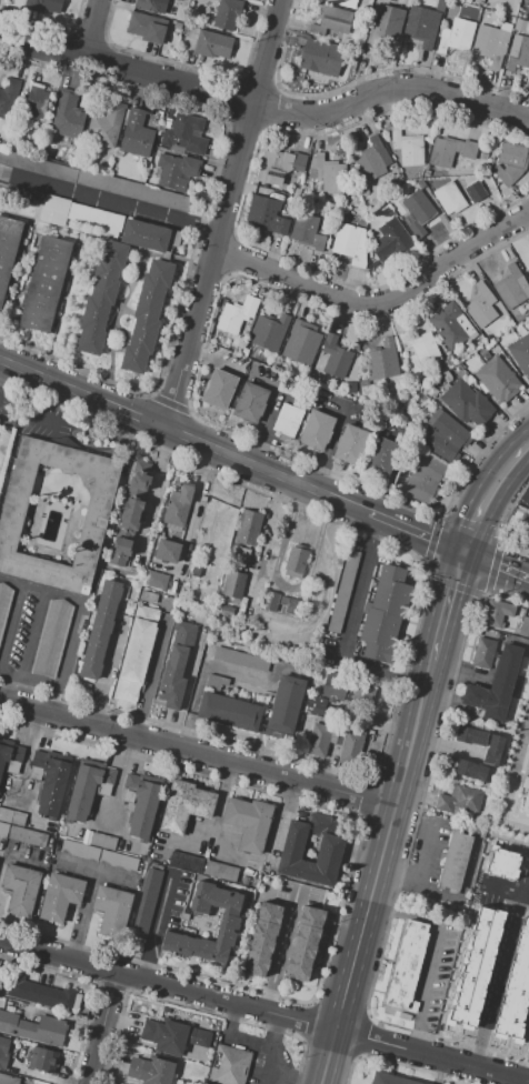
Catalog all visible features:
building: (517, 0)
building: (526, 1)
building: (342, 2)
building: (147, 4)
building: (440, 4)
building: (43, 6)
building: (520, 12)
building: (226, 13)
building: (332, 23)
building: (177, 26)
building: (385, 26)
building: (147, 27)
building: (421, 27)
building: (520, 27)
road: (91, 28)
building: (186, 30)
building: (192, 33)
building: (455, 37)
building: (492, 42)
building: (211, 51)
building: (518, 53)
building: (322, 60)
building: (8, 97)
building: (37, 101)
road: (263, 104)
building: (68, 116)
building: (106, 123)
building: (137, 134)
building: (184, 134)
building: (408, 147)
building: (450, 150)
building: (483, 154)
building: (373, 160)
building: (510, 161)
building: (280, 168)
building: (176, 171)
building: (328, 173)
building: (94, 180)
building: (399, 180)
building: (421, 183)
building: (297, 191)
building: (363, 191)
building: (458, 195)
road: (108, 200)
building: (355, 200)
building: (53, 209)
building: (417, 211)
road: (221, 214)
building: (93, 215)
building: (266, 215)
building: (343, 217)
building: (307, 231)
building: (143, 234)
road: (103, 238)
building: (387, 242)
building: (348, 244)
building: (7, 247)
road: (21, 268)
building: (528, 271)
building: (43, 284)
building: (510, 288)
building: (99, 295)
road: (379, 302)
road: (61, 304)
building: (480, 305)
building: (144, 314)
building: (237, 314)
building: (518, 318)
road: (111, 322)
building: (450, 325)
building: (268, 332)
building: (488, 337)
building: (301, 342)
building: (421, 347)
building: (238, 348)
building: (244, 352)
building: (483, 353)
building: (520, 353)
road: (212, 358)
building: (335, 358)
building: (381, 360)
building: (448, 362)
road: (0, 363)
building: (446, 378)
building: (496, 380)
road: (57, 384)
building: (219, 389)
building: (249, 402)
building: (467, 404)
road: (269, 409)
road: (345, 410)
building: (410, 415)
road: (140, 418)
building: (286, 421)
building: (316, 430)
building: (445, 436)
building: (350, 444)
road: (328, 449)
building: (381, 458)
road: (266, 470)
building: (425, 479)
building: (139, 482)
road: (151, 489)
road: (488, 494)
building: (17, 498)
building: (178, 505)
building: (131, 514)
road: (267, 526)
building: (526, 526)
building: (249, 528)
road: (415, 532)
building: (121, 546)
building: (167, 551)
building: (240, 553)
traffic signals: (463, 553)
building: (297, 561)
road: (496, 564)
building: (156, 580)
building: (233, 584)
building: (342, 591)
building: (148, 598)
building: (270, 601)
building: (4, 602)
building: (288, 603)
road: (449, 608)
building: (224, 611)
building: (497, 613)
building: (385, 614)
road: (80, 616)
road: (10, 620)
building: (523, 628)
road: (469, 629)
building: (101, 630)
building: (239, 633)
road: (348, 633)
road: (30, 638)
building: (51, 638)
road: (456, 642)
road: (469, 652)
building: (482, 652)
building: (136, 655)
building: (241, 659)
road: (112, 661)
building: (177, 664)
road: (220, 670)
road: (3, 671)
road: (460, 671)
building: (216, 682)
building: (493, 685)
road: (3, 686)
building: (335, 689)
road: (182, 703)
building: (286, 704)
building: (315, 707)
building: (229, 710)
building: (469, 735)
building: (335, 743)
road: (447, 746)
road: (519, 747)
building: (491, 750)
road: (199, 751)
building: (10, 753)
building: (469, 770)
building: (51, 779)
building: (87, 787)
road: (515, 789)
building: (526, 791)
building: (458, 799)
building: (143, 802)
building: (184, 805)
building: (12, 816)
building: (248, 822)
building: (2, 829)
building: (27, 836)
building: (102, 841)
building: (79, 850)
building: (329, 850)
building: (119, 860)
building: (184, 861)
building: (453, 862)
building: (501, 863)
road: (421, 869)
building: (220, 871)
road: (379, 873)
building: (528, 883)
building: (20, 890)
road: (460, 894)
road: (501, 894)
building: (60, 895)
building: (146, 902)
building: (112, 910)
building: (229, 924)
road: (465, 925)
road: (156, 926)
building: (262, 940)
building: (305, 943)
road: (281, 950)
road: (433, 951)
road: (500, 957)
building: (406, 966)
building: (473, 967)
building: (515, 990)
building: (40, 994)
road: (264, 1008)
building: (402, 1015)
road: (102, 1027)
building: (33, 1028)
road: (276, 1032)
building: (172, 1036)
road: (261, 1047)
building: (3, 1050)
road: (523, 1054)
building: (43, 1060)
building: (7, 1063)
building: (229, 1065)
road: (439, 1070)
building: (150, 1071)
road: (273, 1078)
building: (389, 1078)
building: (8, 1080)
road: (517, 1080)
road: (528, 1082)

